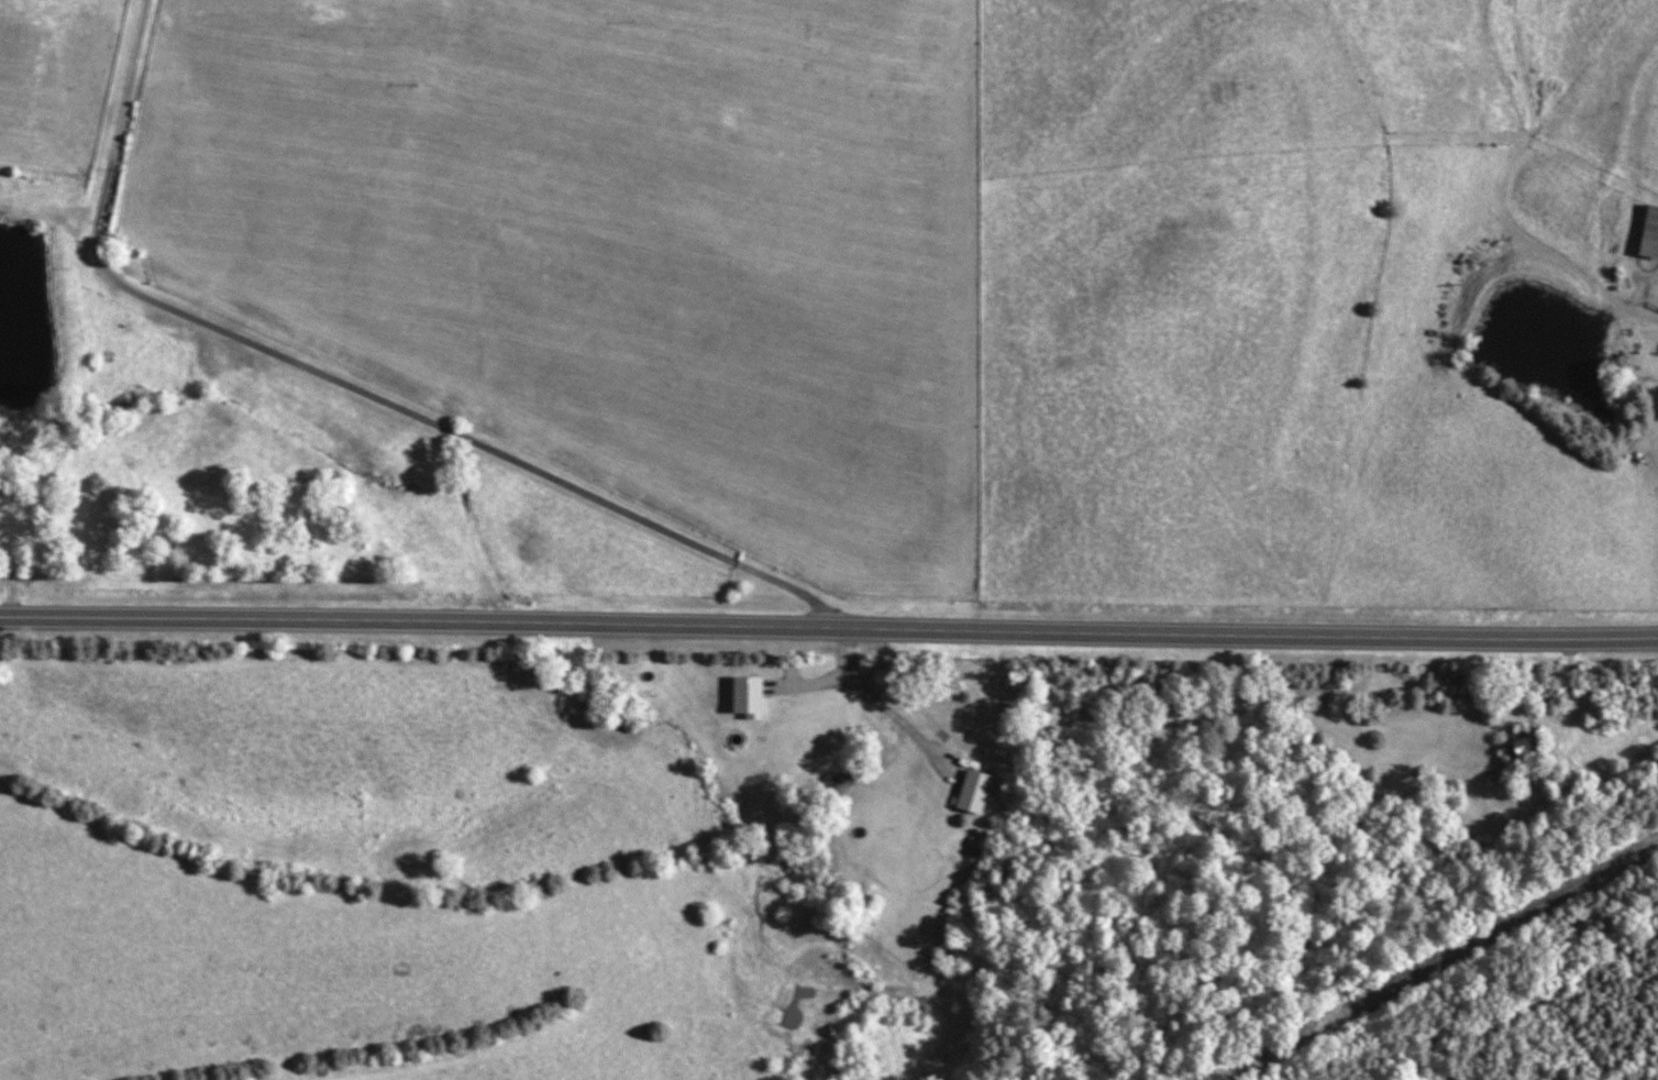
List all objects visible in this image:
building: (1649, 233)
road: (346, 383)
road: (828, 633)
building: (1519, 750)
railway: (1447, 965)

